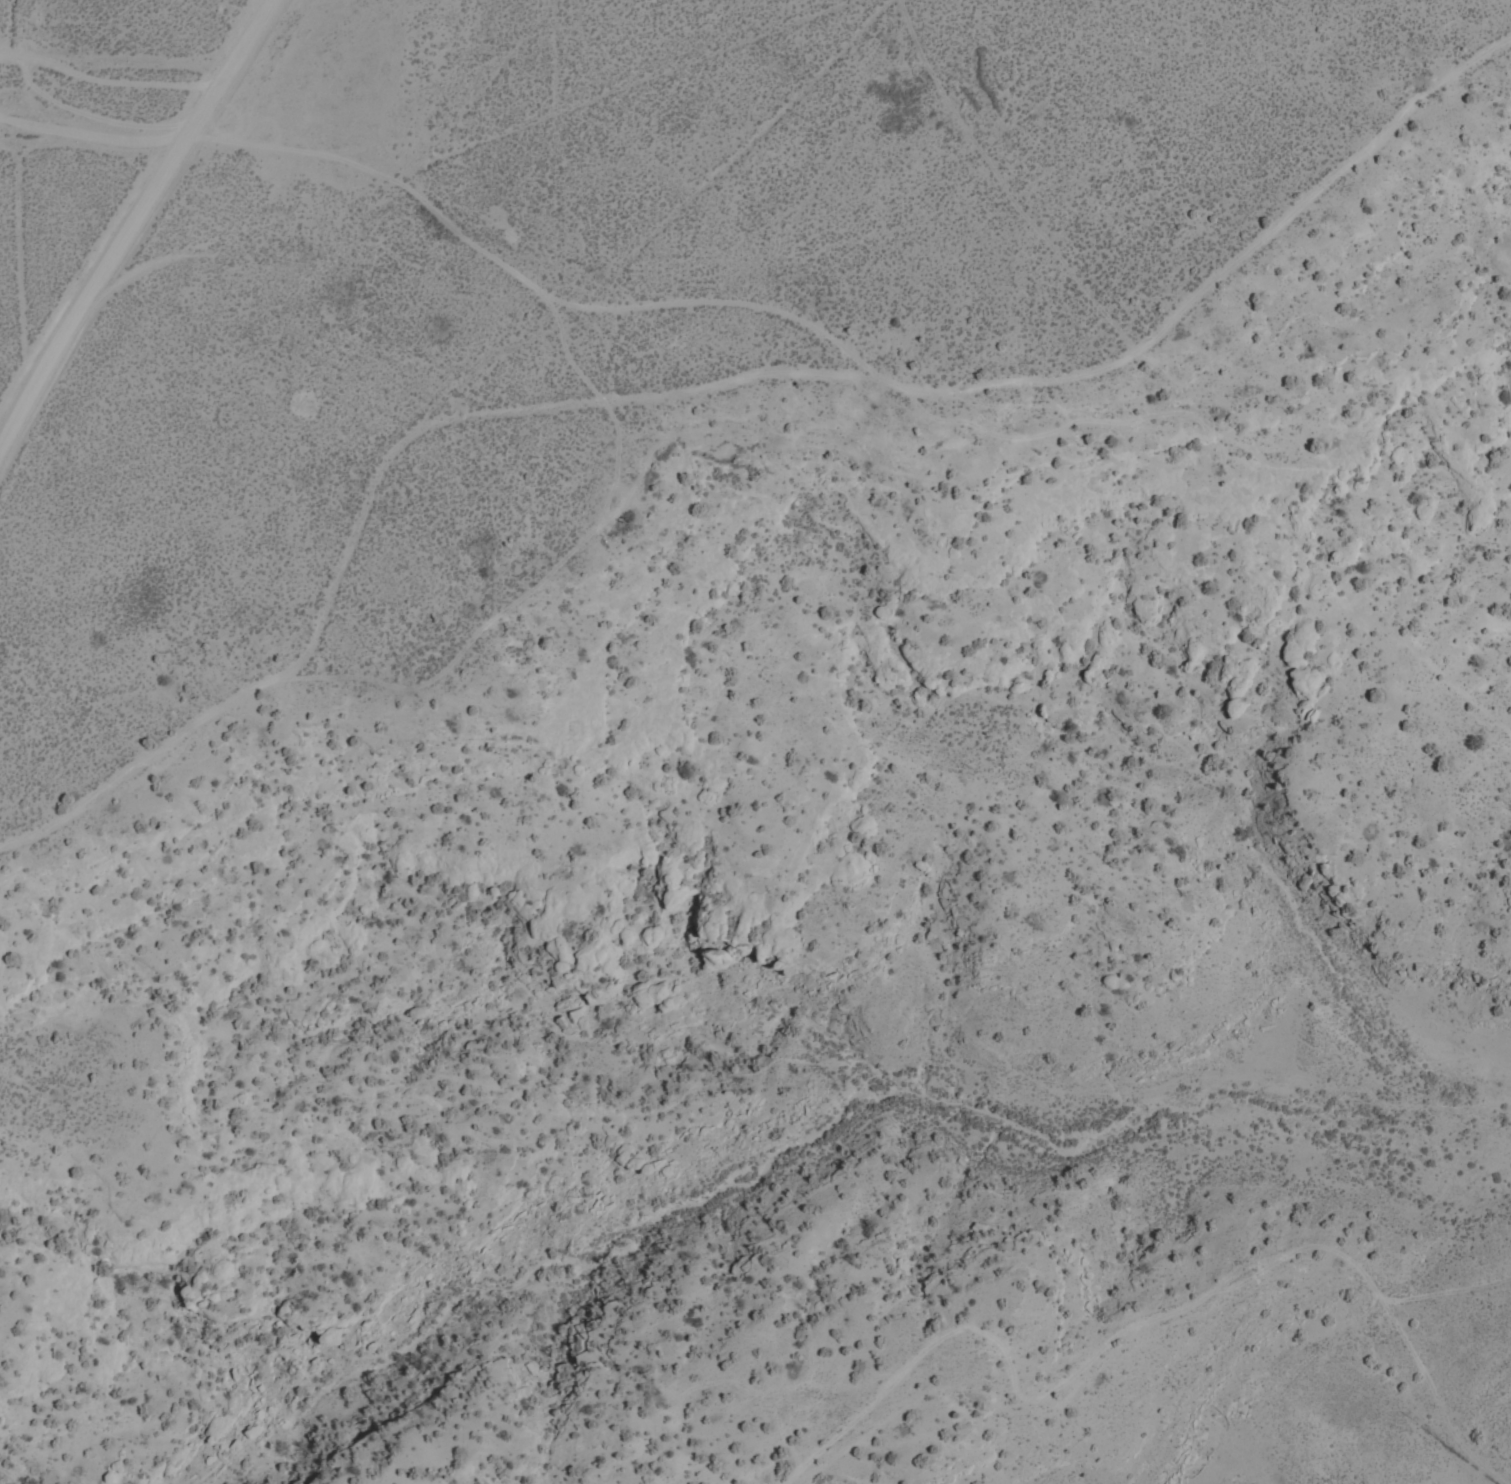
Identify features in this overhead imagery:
road: (108, 81)
road: (94, 136)
road: (125, 230)
road: (1029, 372)
road: (272, 676)
road: (1168, 1456)

